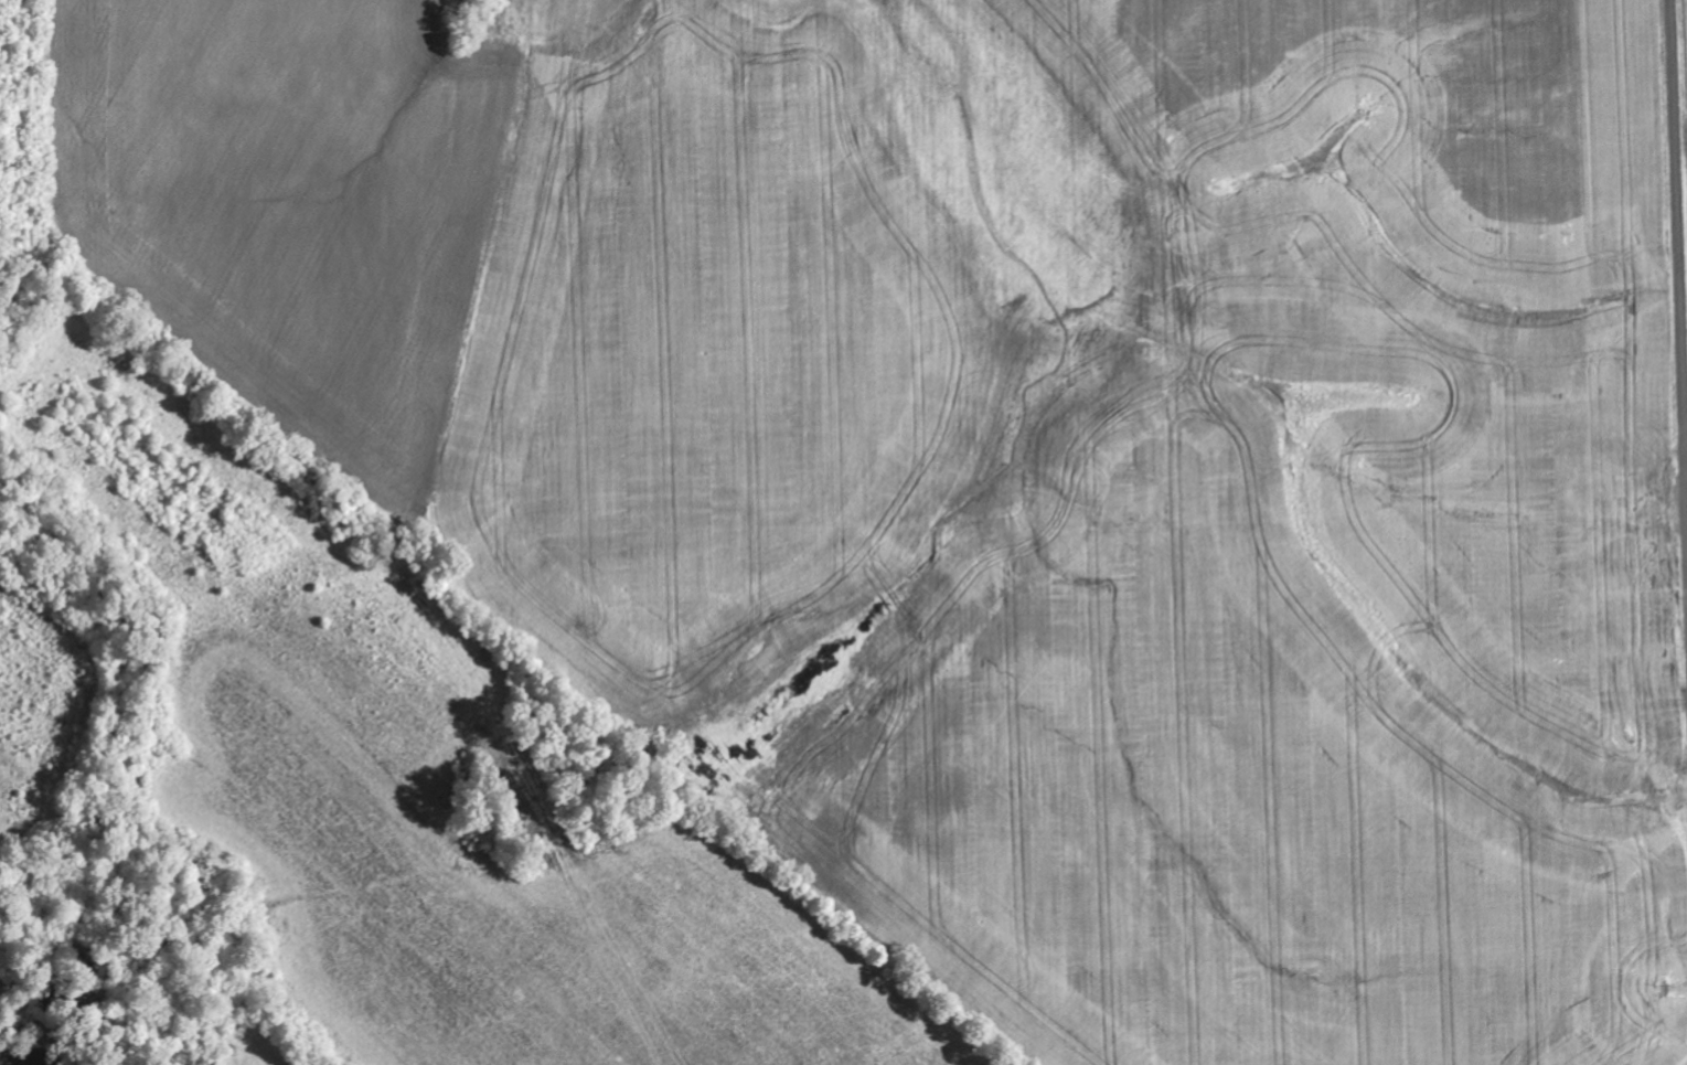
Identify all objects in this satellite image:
road: (1679, 224)

